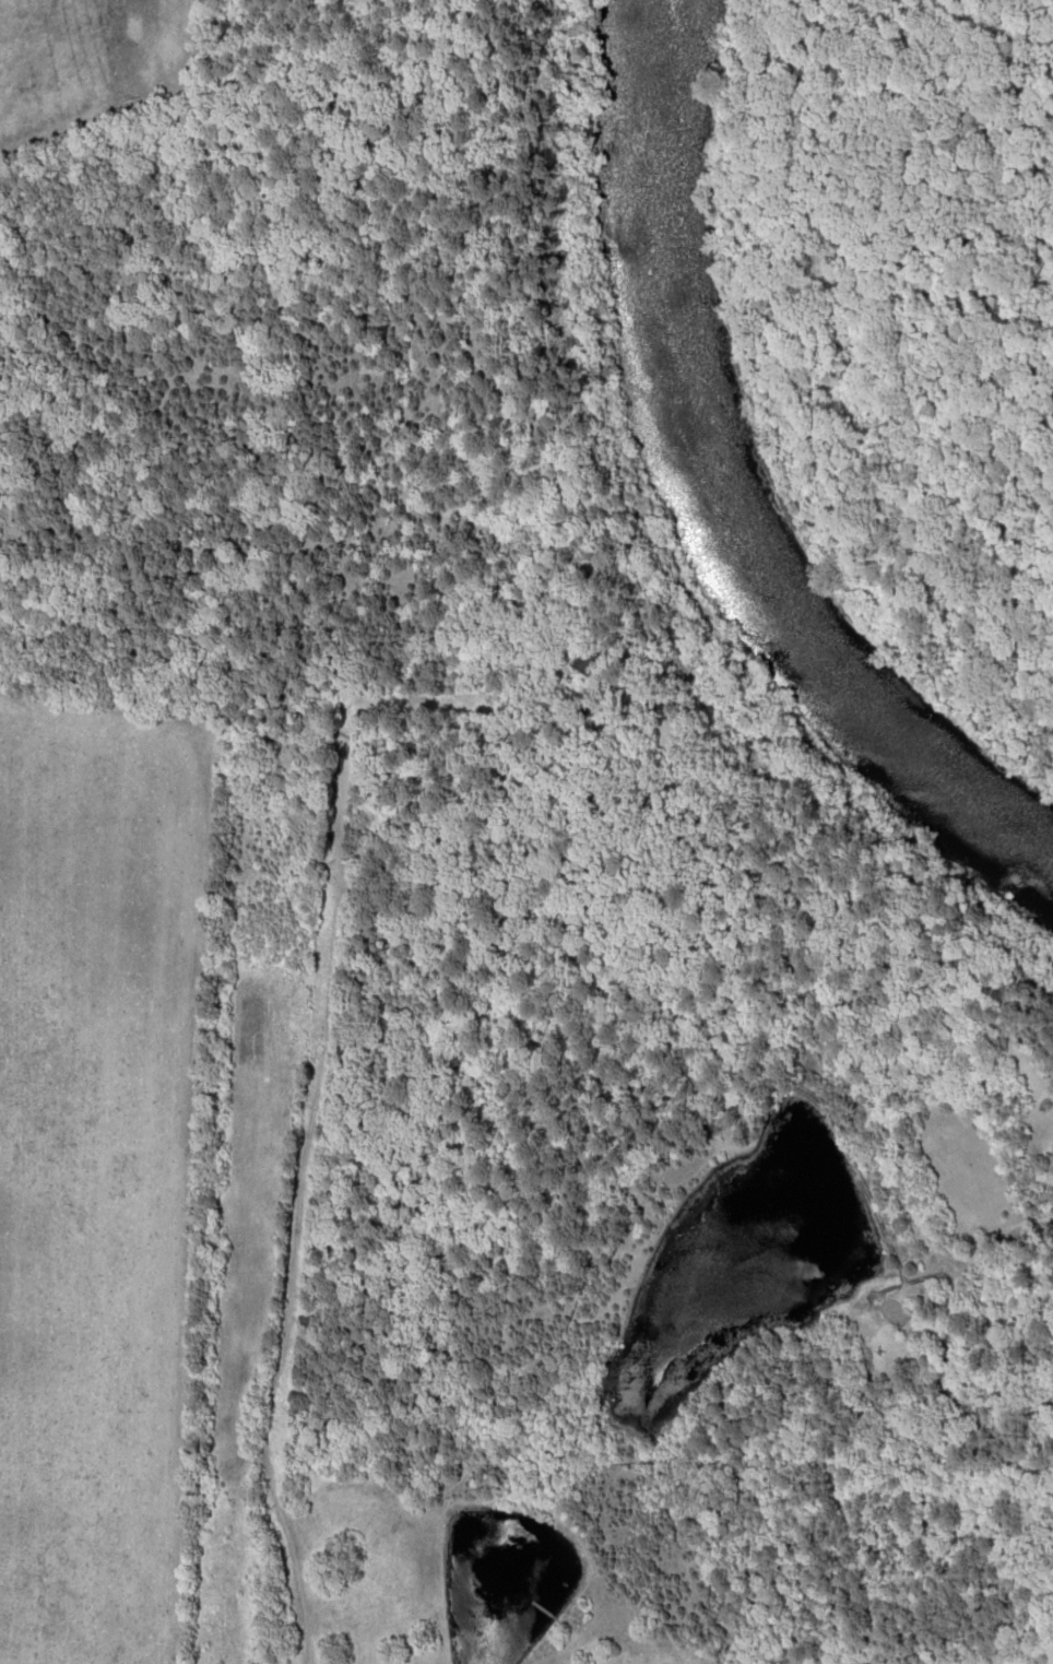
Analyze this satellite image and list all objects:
road: (311, 1124)

